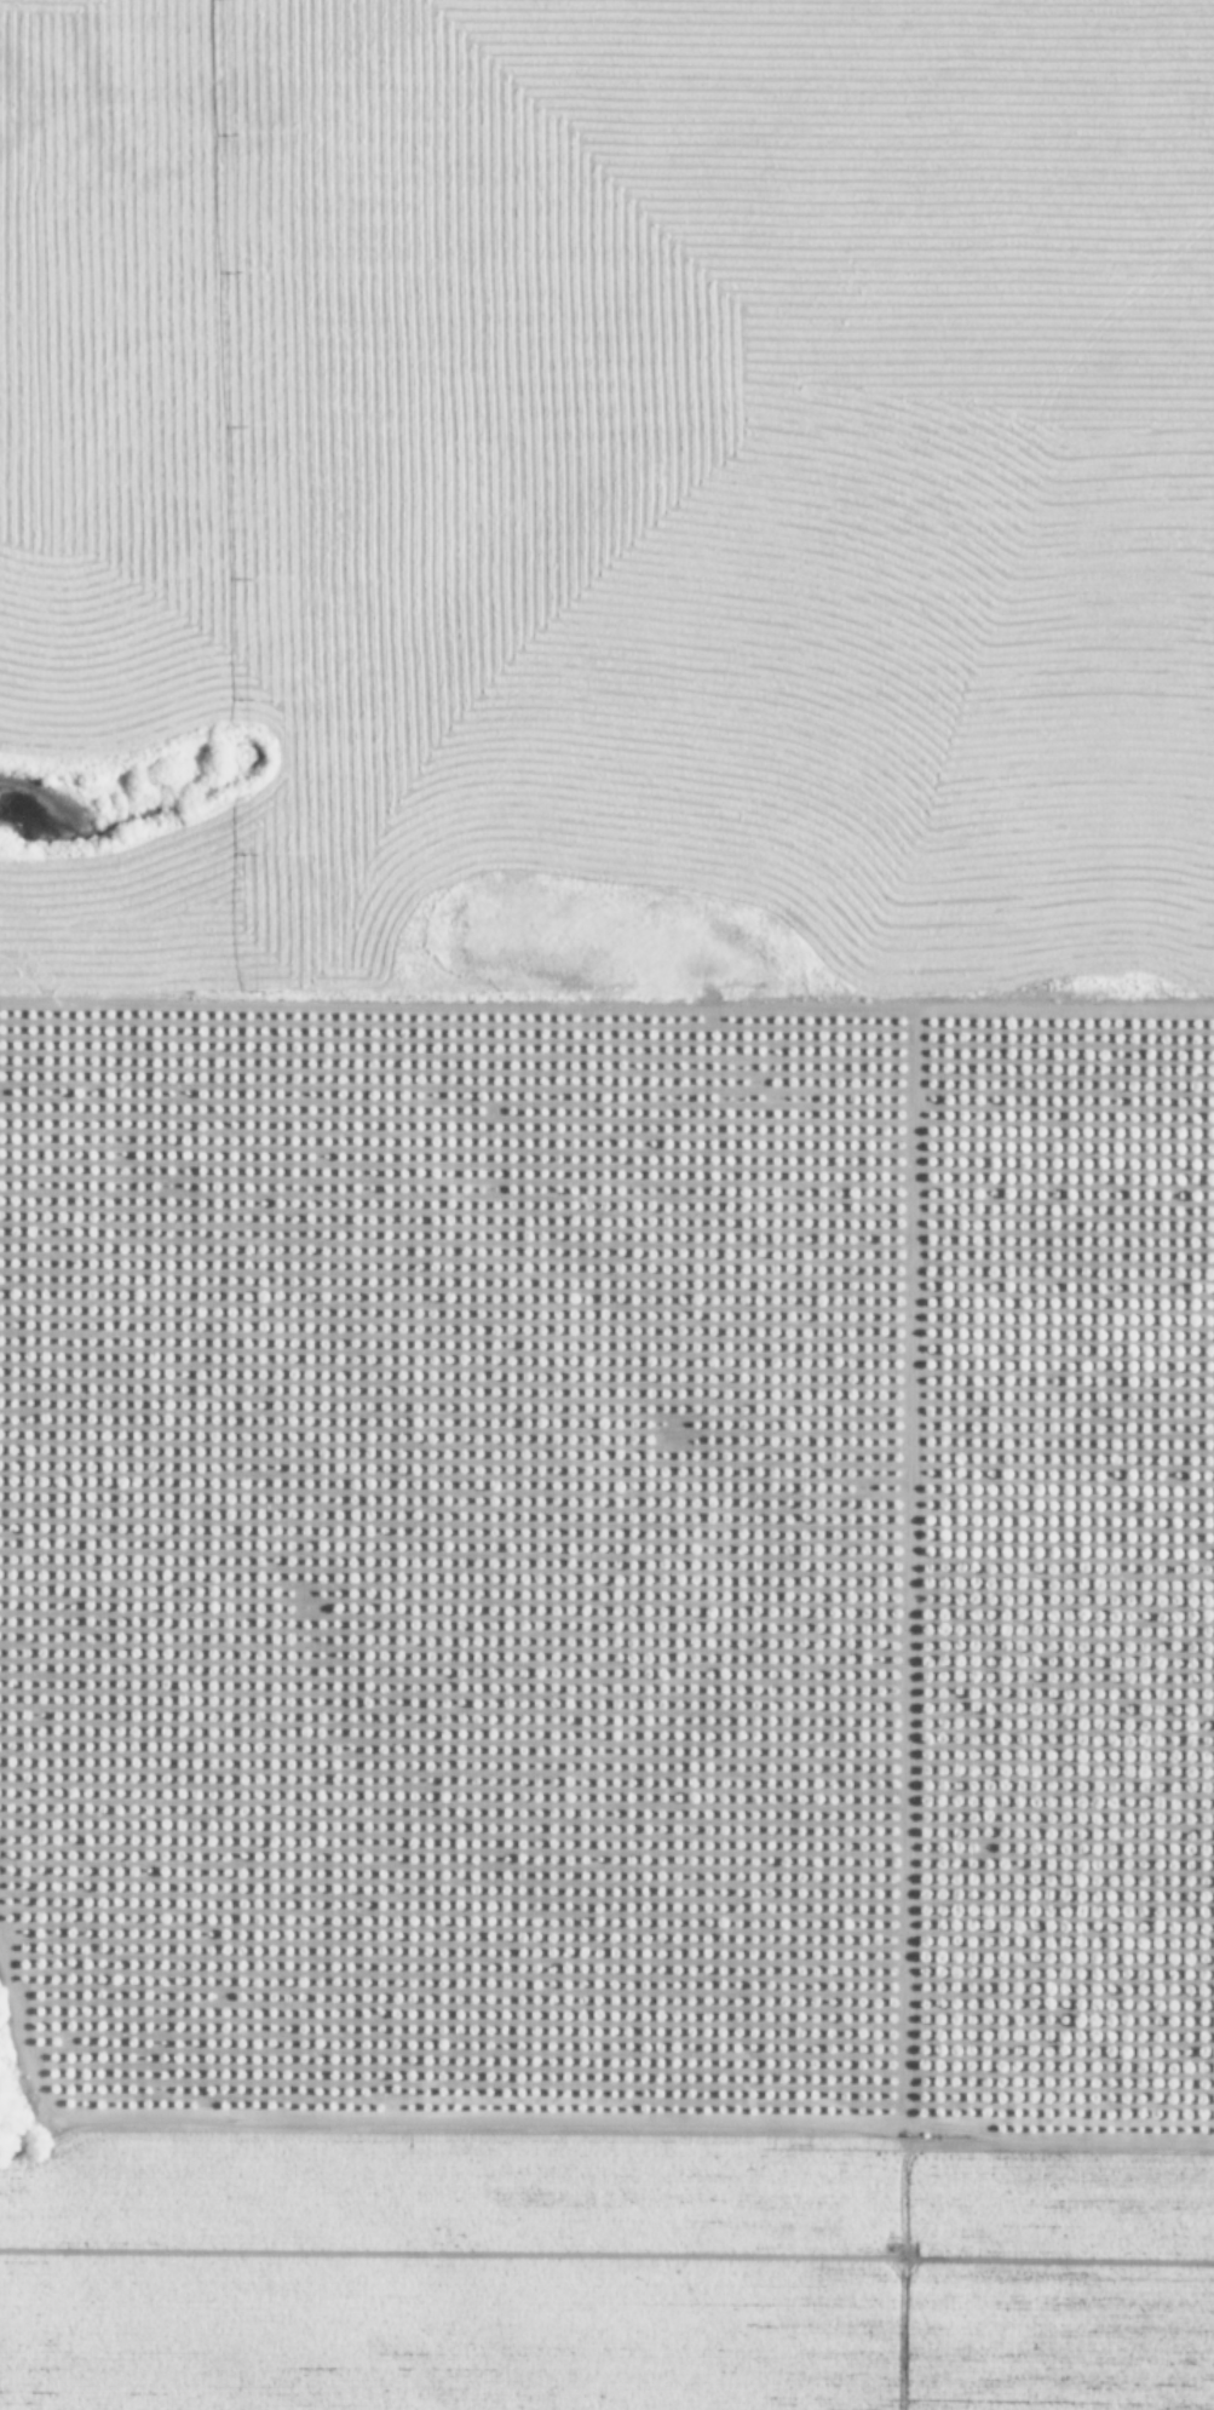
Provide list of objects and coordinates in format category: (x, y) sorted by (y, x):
crop: (611, 1207)
road: (1092, 2162)

